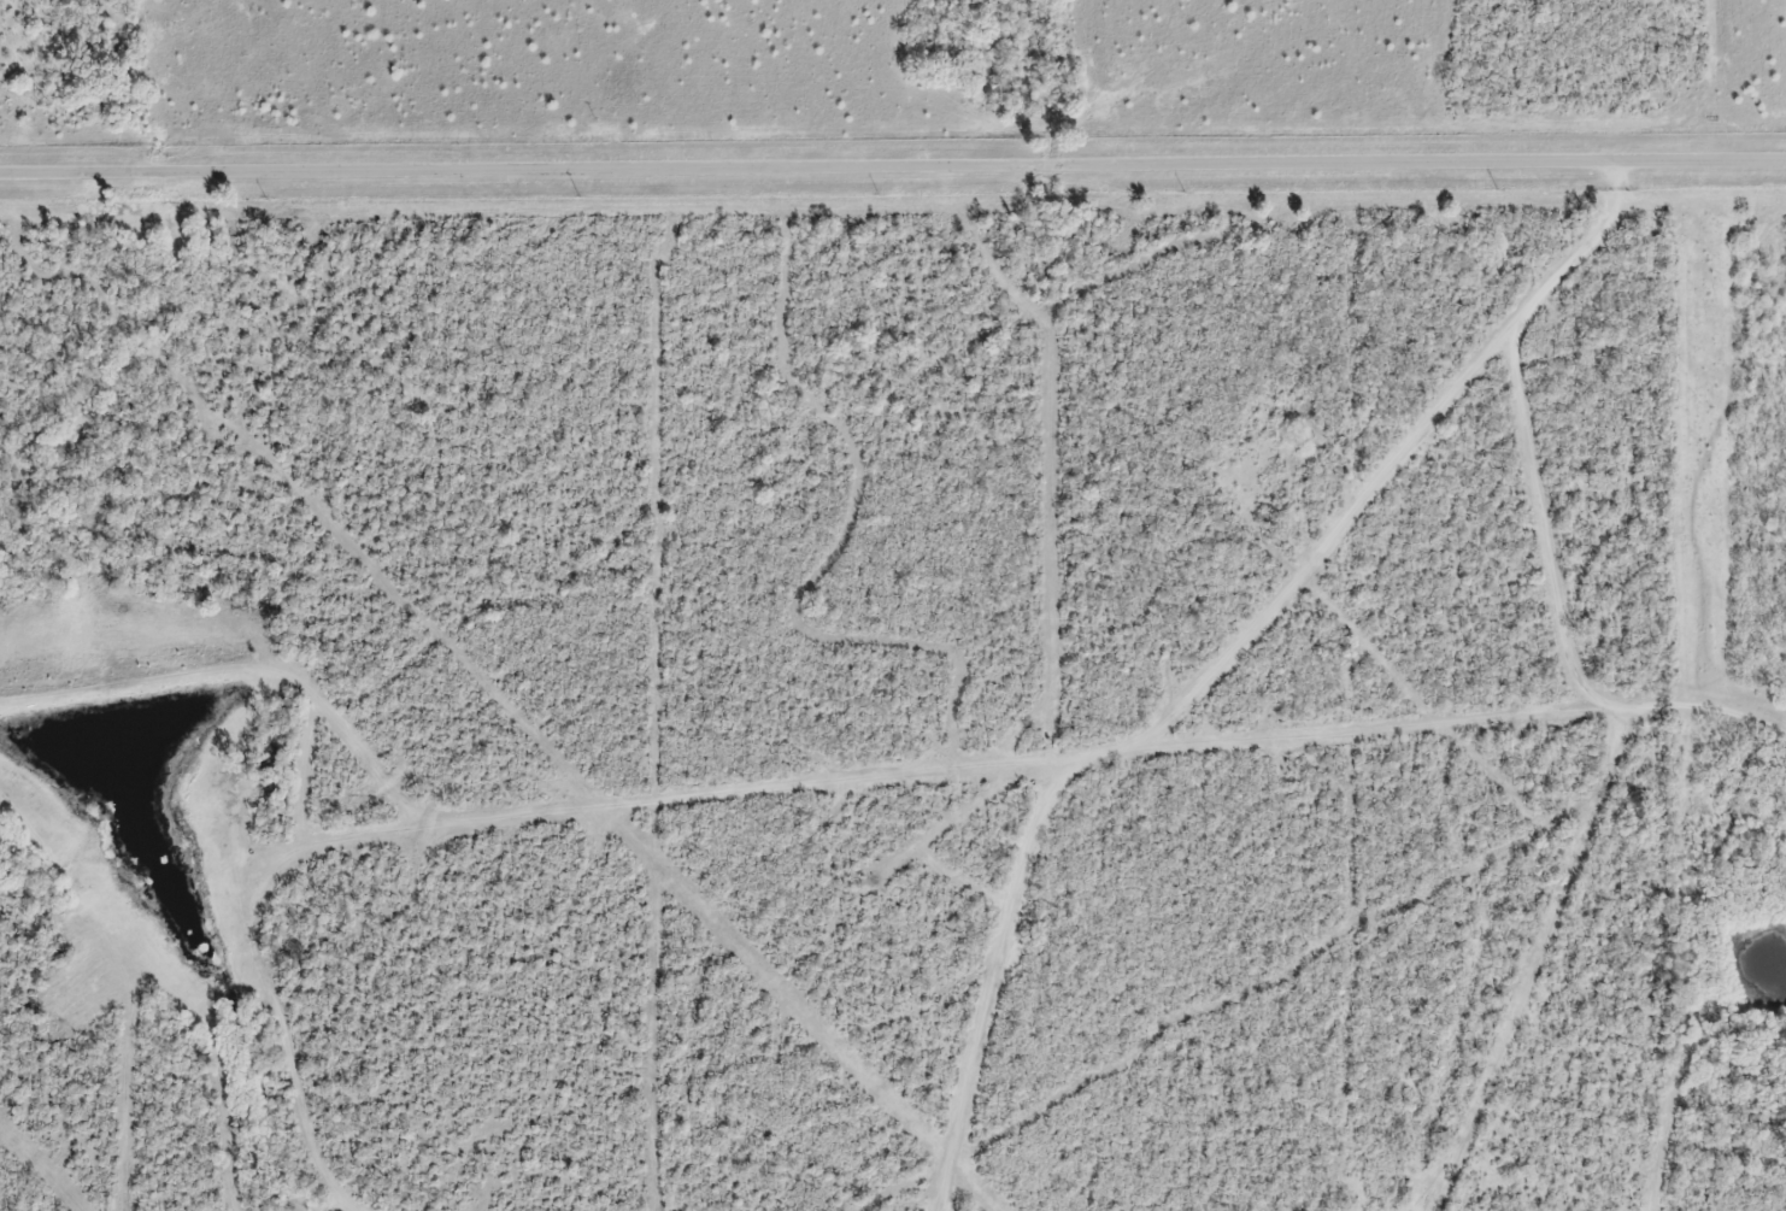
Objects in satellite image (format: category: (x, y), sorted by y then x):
road: (892, 169)
road: (1541, 518)

